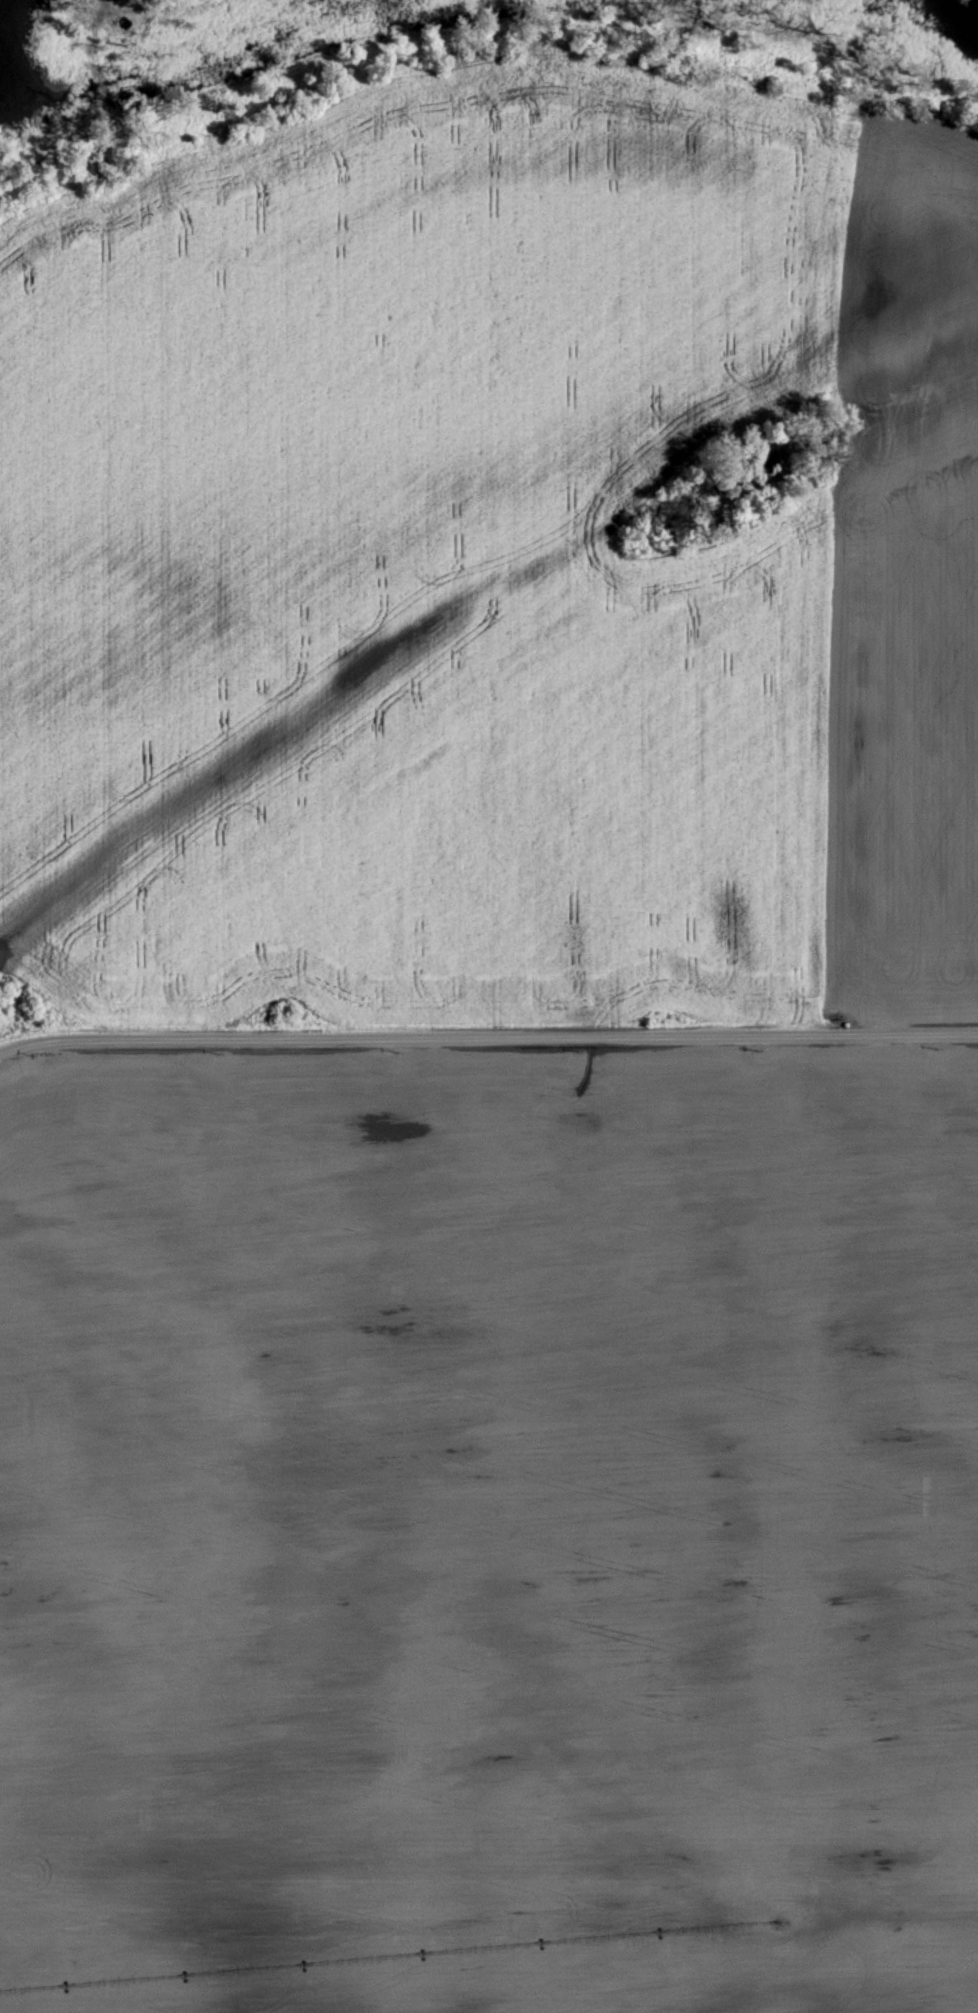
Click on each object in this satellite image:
park: (100, 22)
road: (488, 1037)

